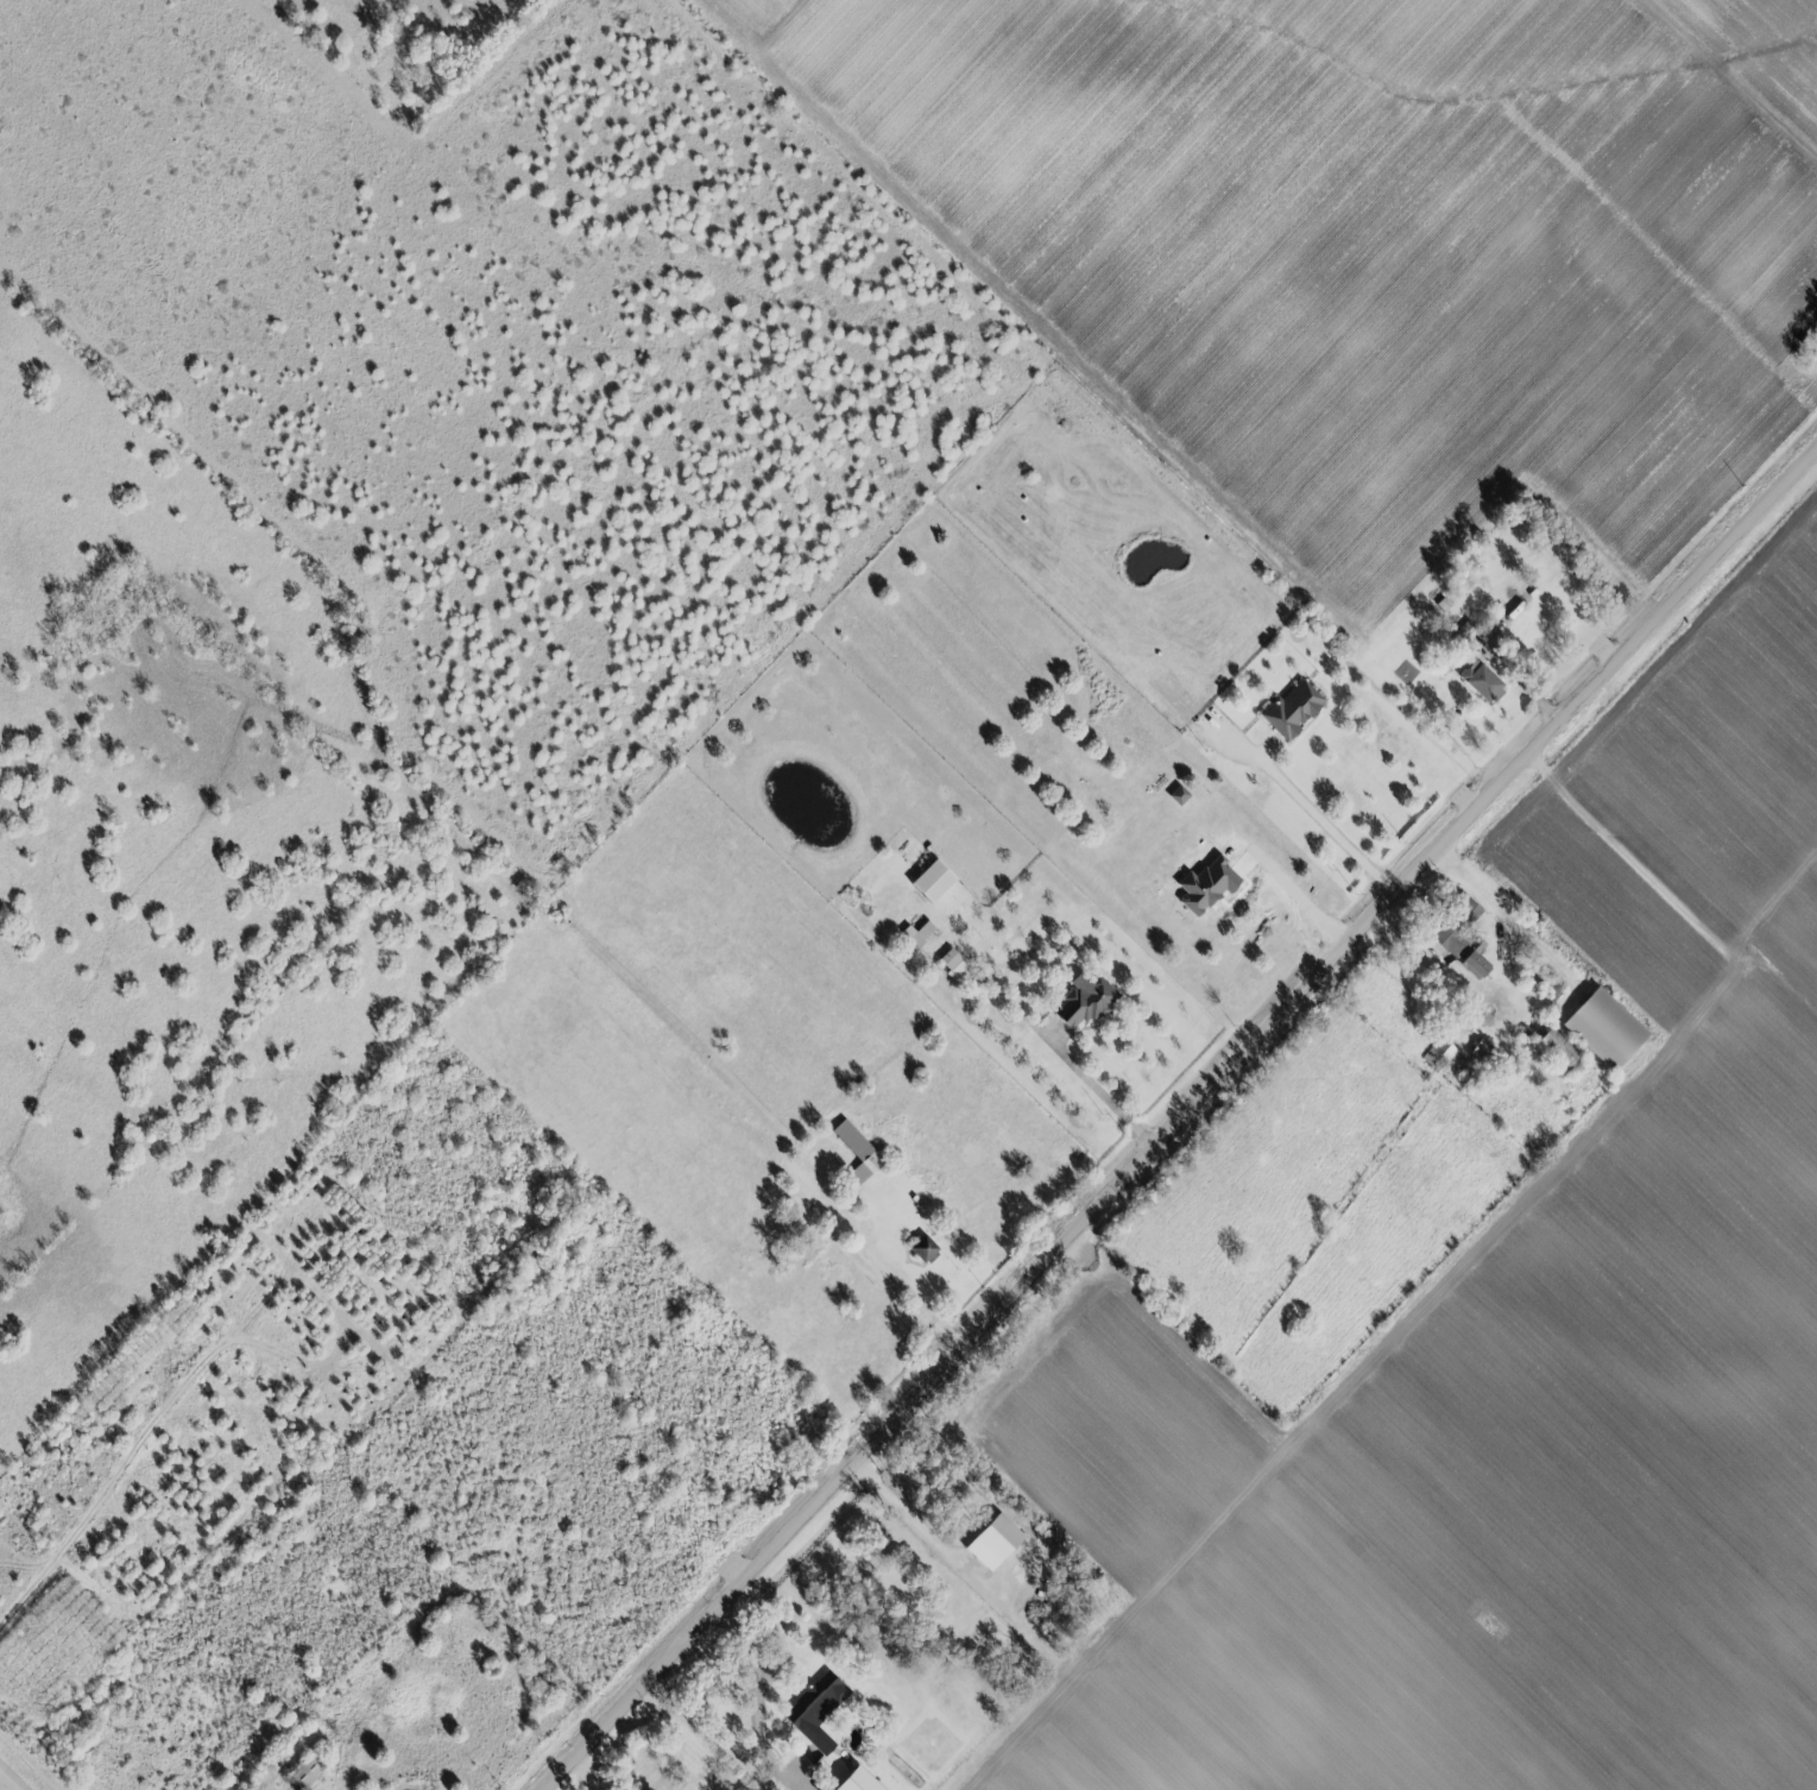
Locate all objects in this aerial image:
building: (1481, 683)
building: (1291, 711)
building: (1176, 795)
road: (1320, 822)
building: (929, 882)
building: (1204, 885)
road: (1305, 902)
building: (916, 934)
building: (1459, 948)
building: (951, 963)
building: (1085, 1004)
building: (1602, 1029)
building: (1478, 1051)
building: (1554, 1051)
building: (1438, 1053)
road: (1105, 1093)
road: (1179, 1120)
building: (856, 1152)
building: (922, 1249)
road: (895, 1273)
crop: (1515, 1350)
road: (30, 1587)
road: (753, 1700)
building: (814, 1710)
building: (302, 1773)
road: (592, 1773)
building: (854, 1782)
road: (7, 1783)

